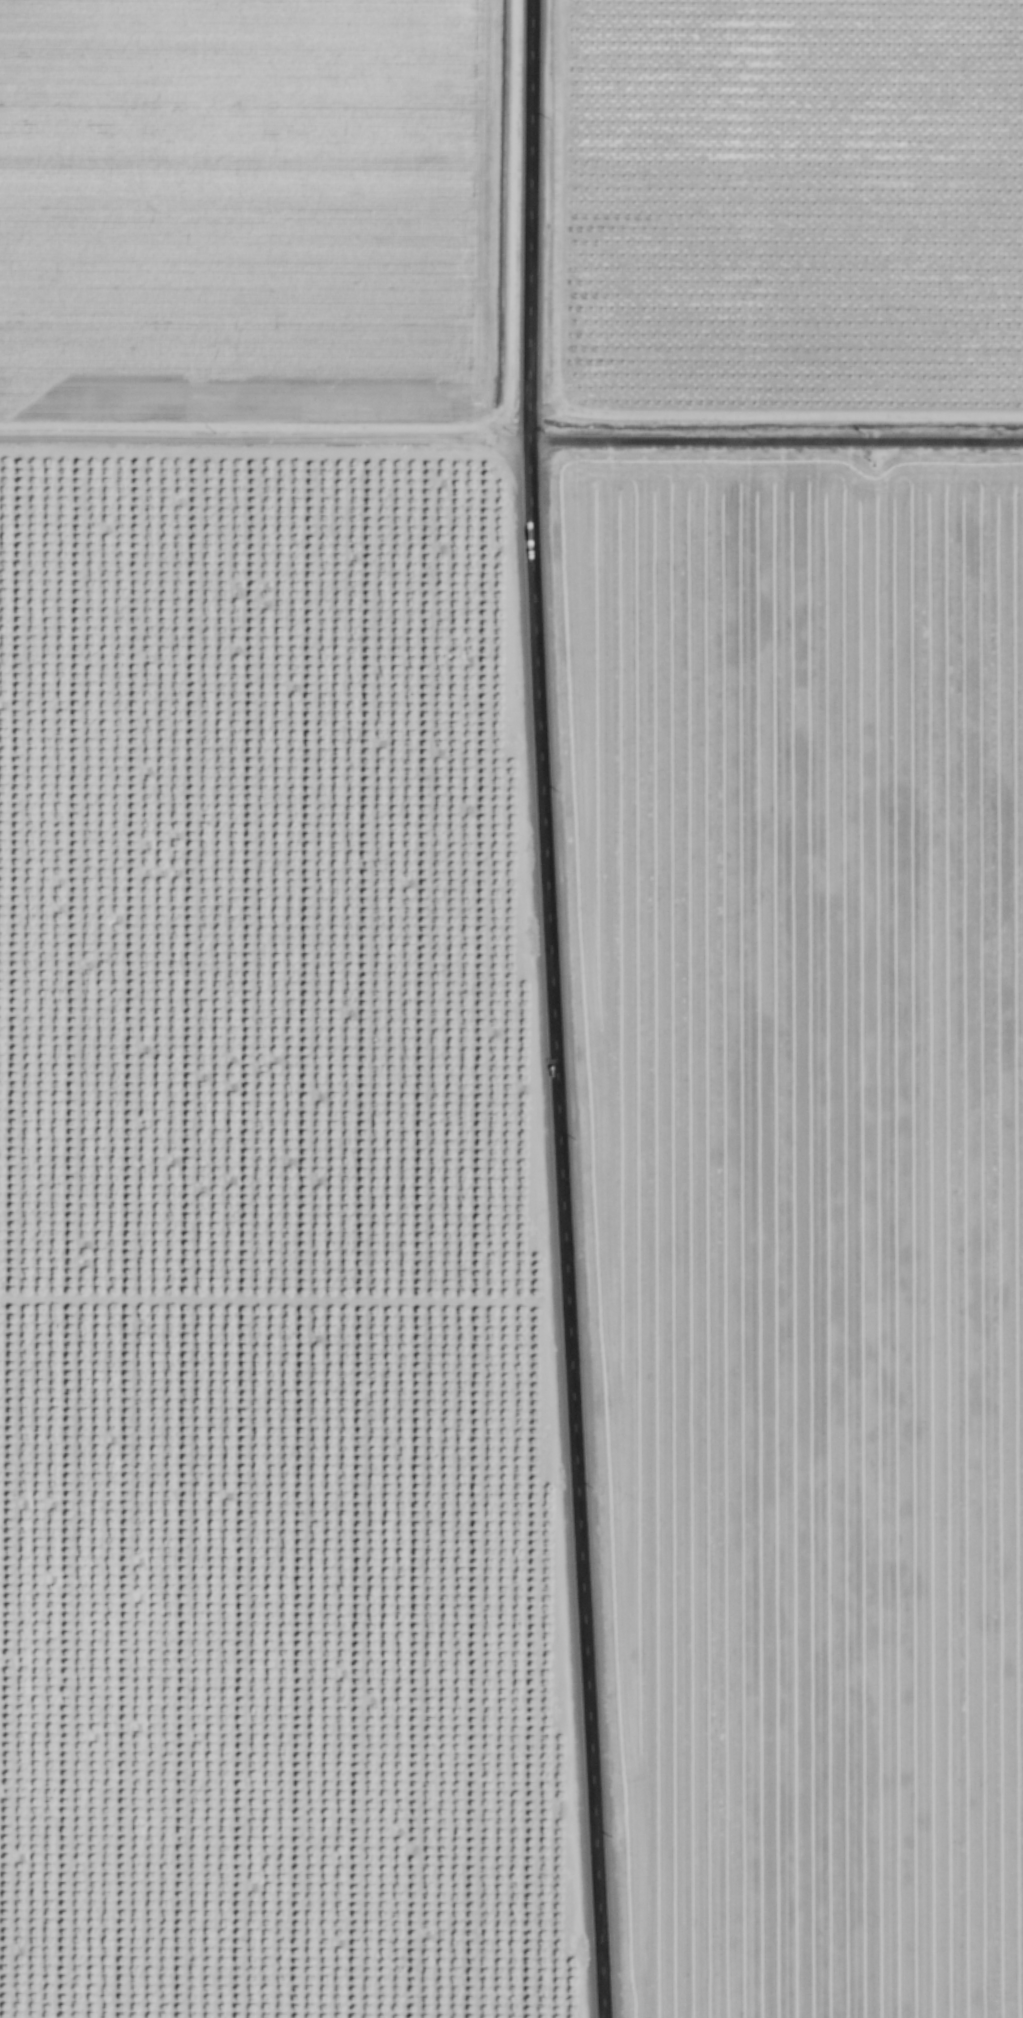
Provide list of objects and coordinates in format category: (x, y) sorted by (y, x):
crop: (253, 222)
road: (775, 418)
road: (775, 440)
road: (551, 1009)

